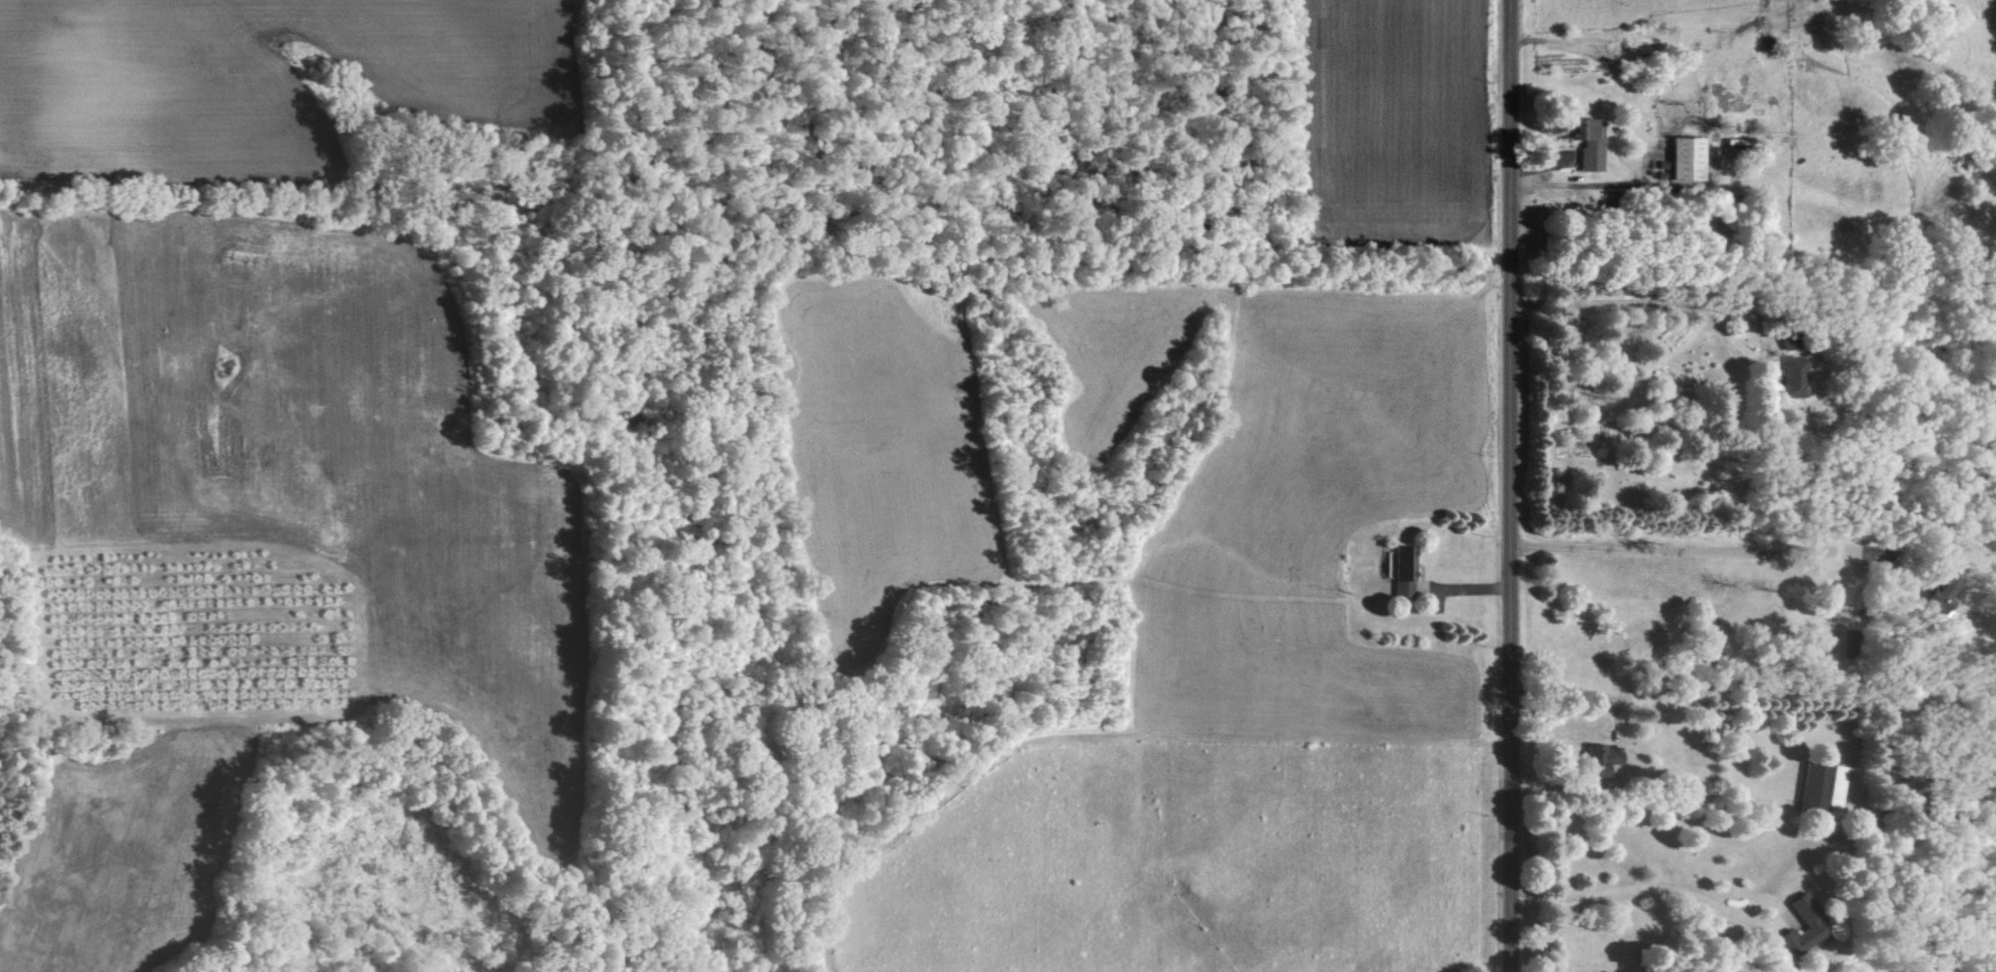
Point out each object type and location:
building: (1685, 158)
road: (1580, 184)
road: (1627, 299)
building: (1792, 376)
road: (1515, 486)
road: (1688, 547)
building: (1400, 570)
building: (1940, 594)
road: (1571, 692)
building: (1597, 759)
building: (1823, 786)
road: (1643, 886)
building: (1801, 913)

